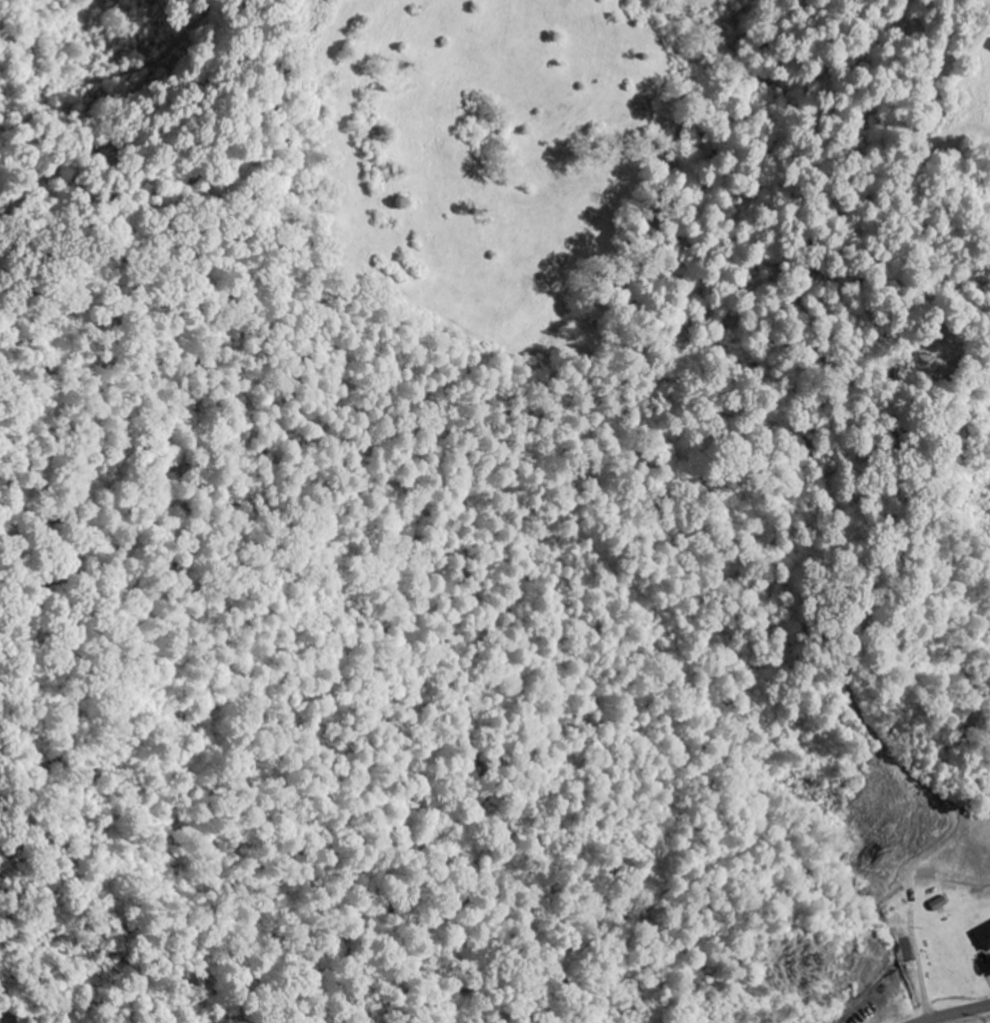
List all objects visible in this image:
building: (936, 905)
building: (982, 936)
road: (957, 1013)

